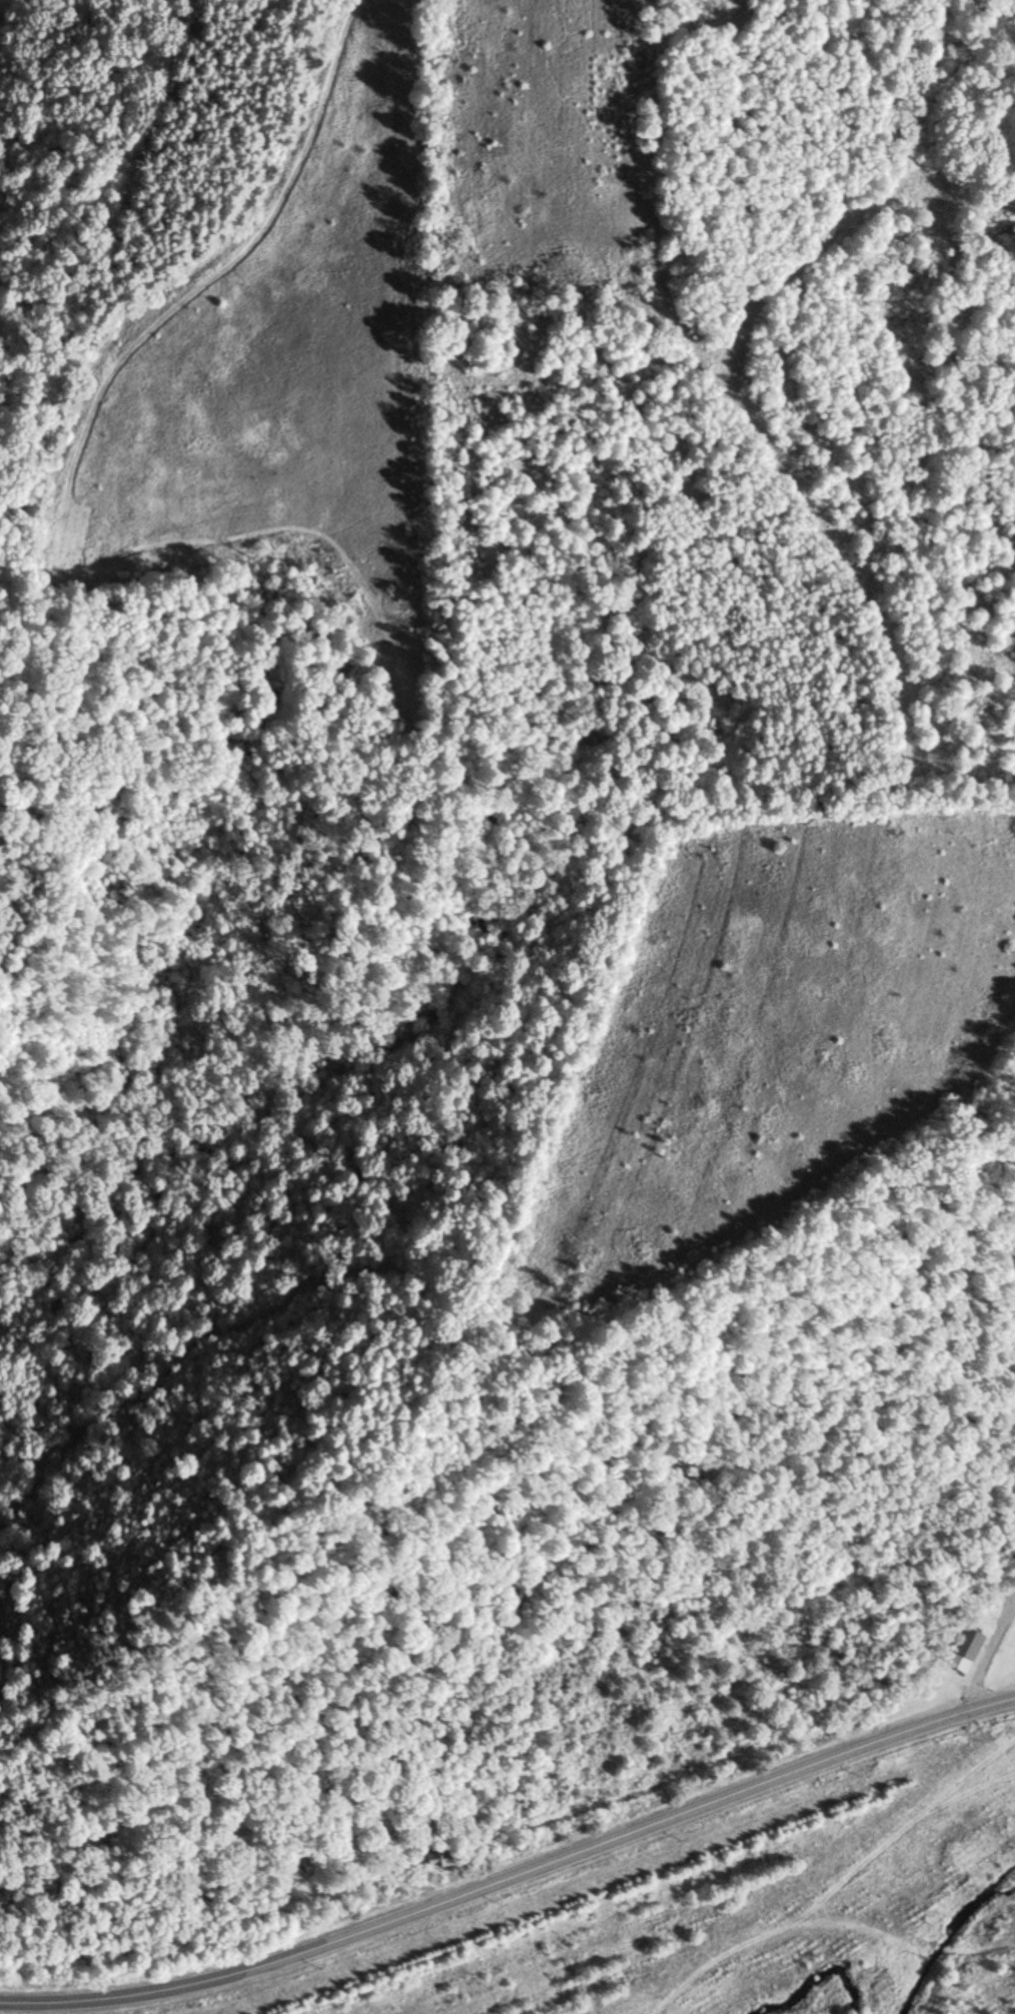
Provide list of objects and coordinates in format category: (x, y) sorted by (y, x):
road: (991, 1647)
building: (962, 1652)
building: (449, 1860)
road: (513, 1878)

